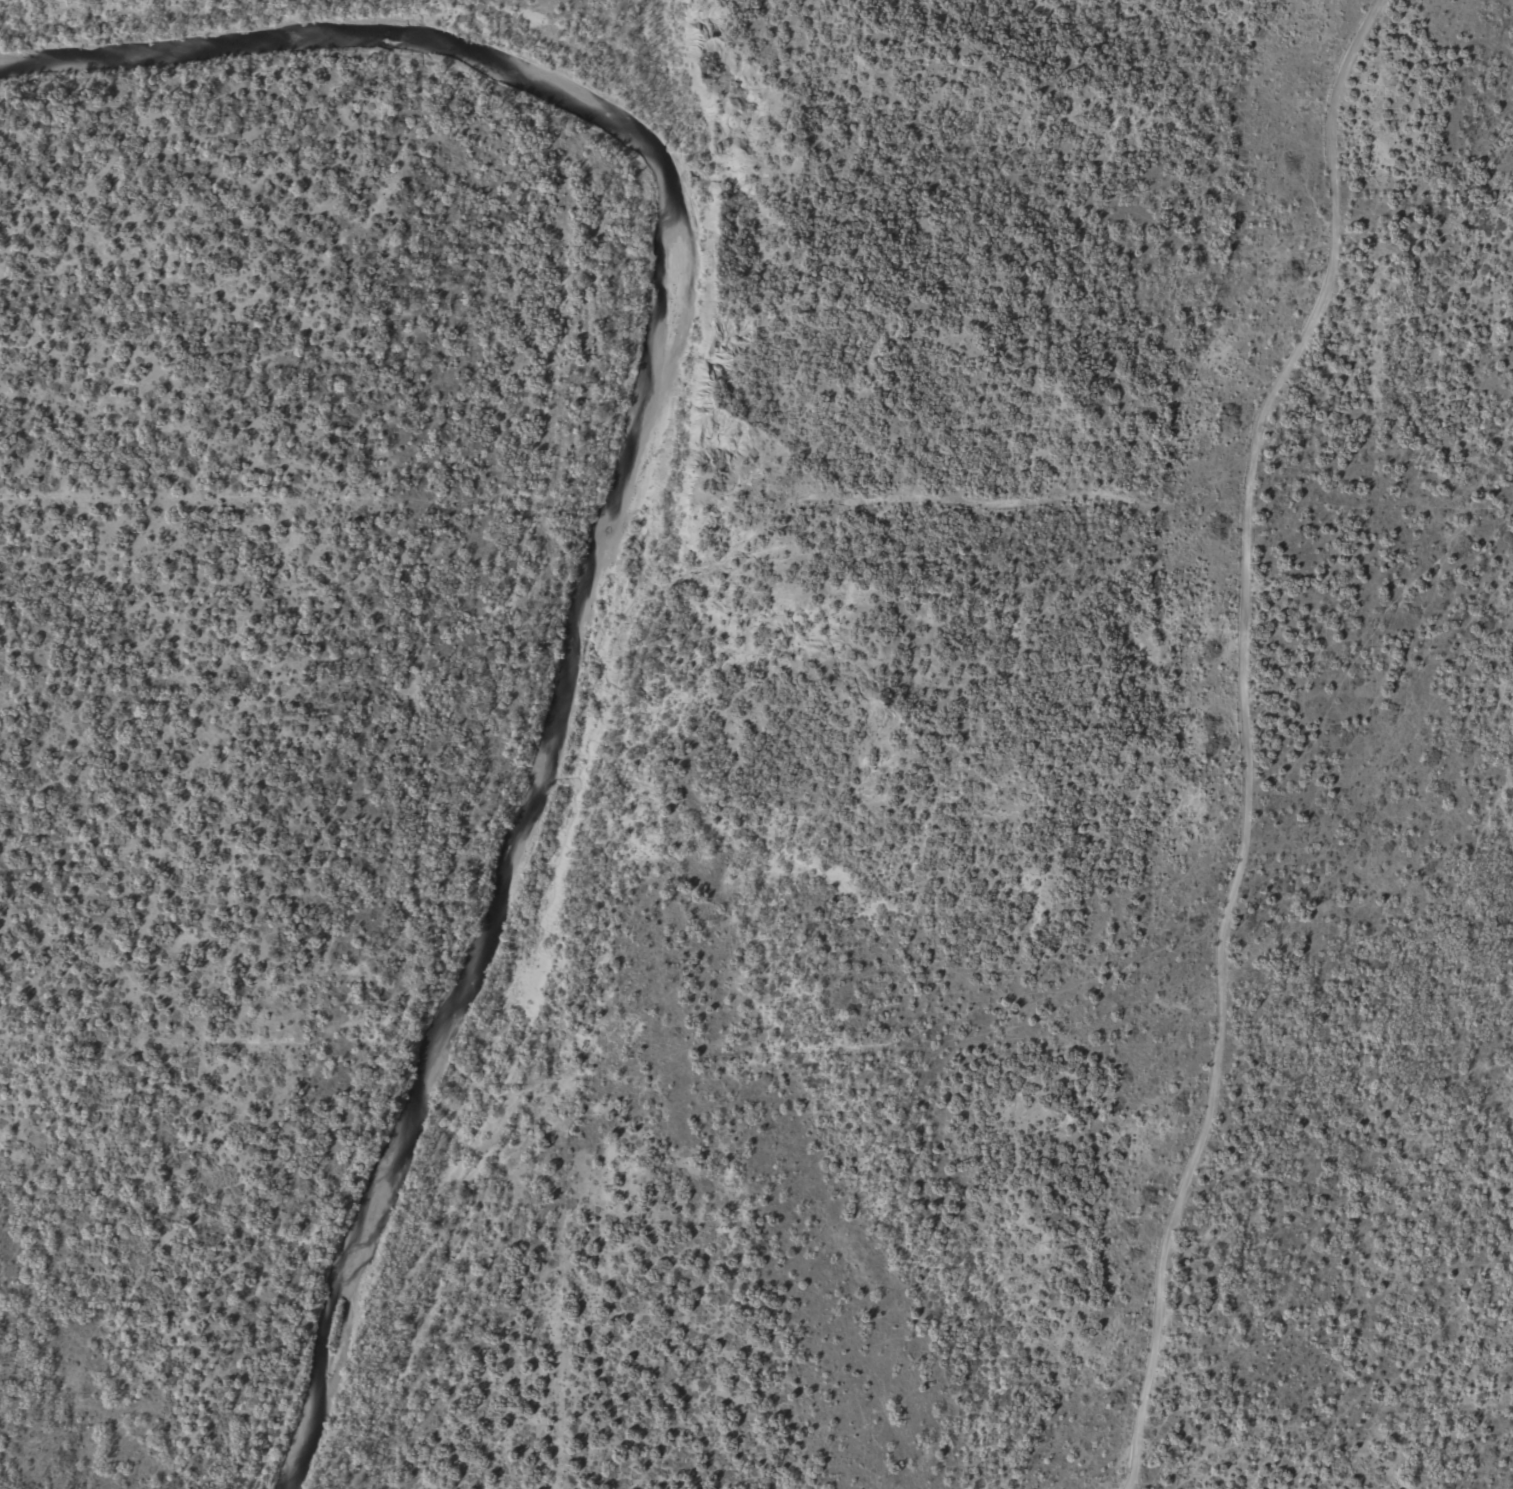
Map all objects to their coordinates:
river: (613, 500)

